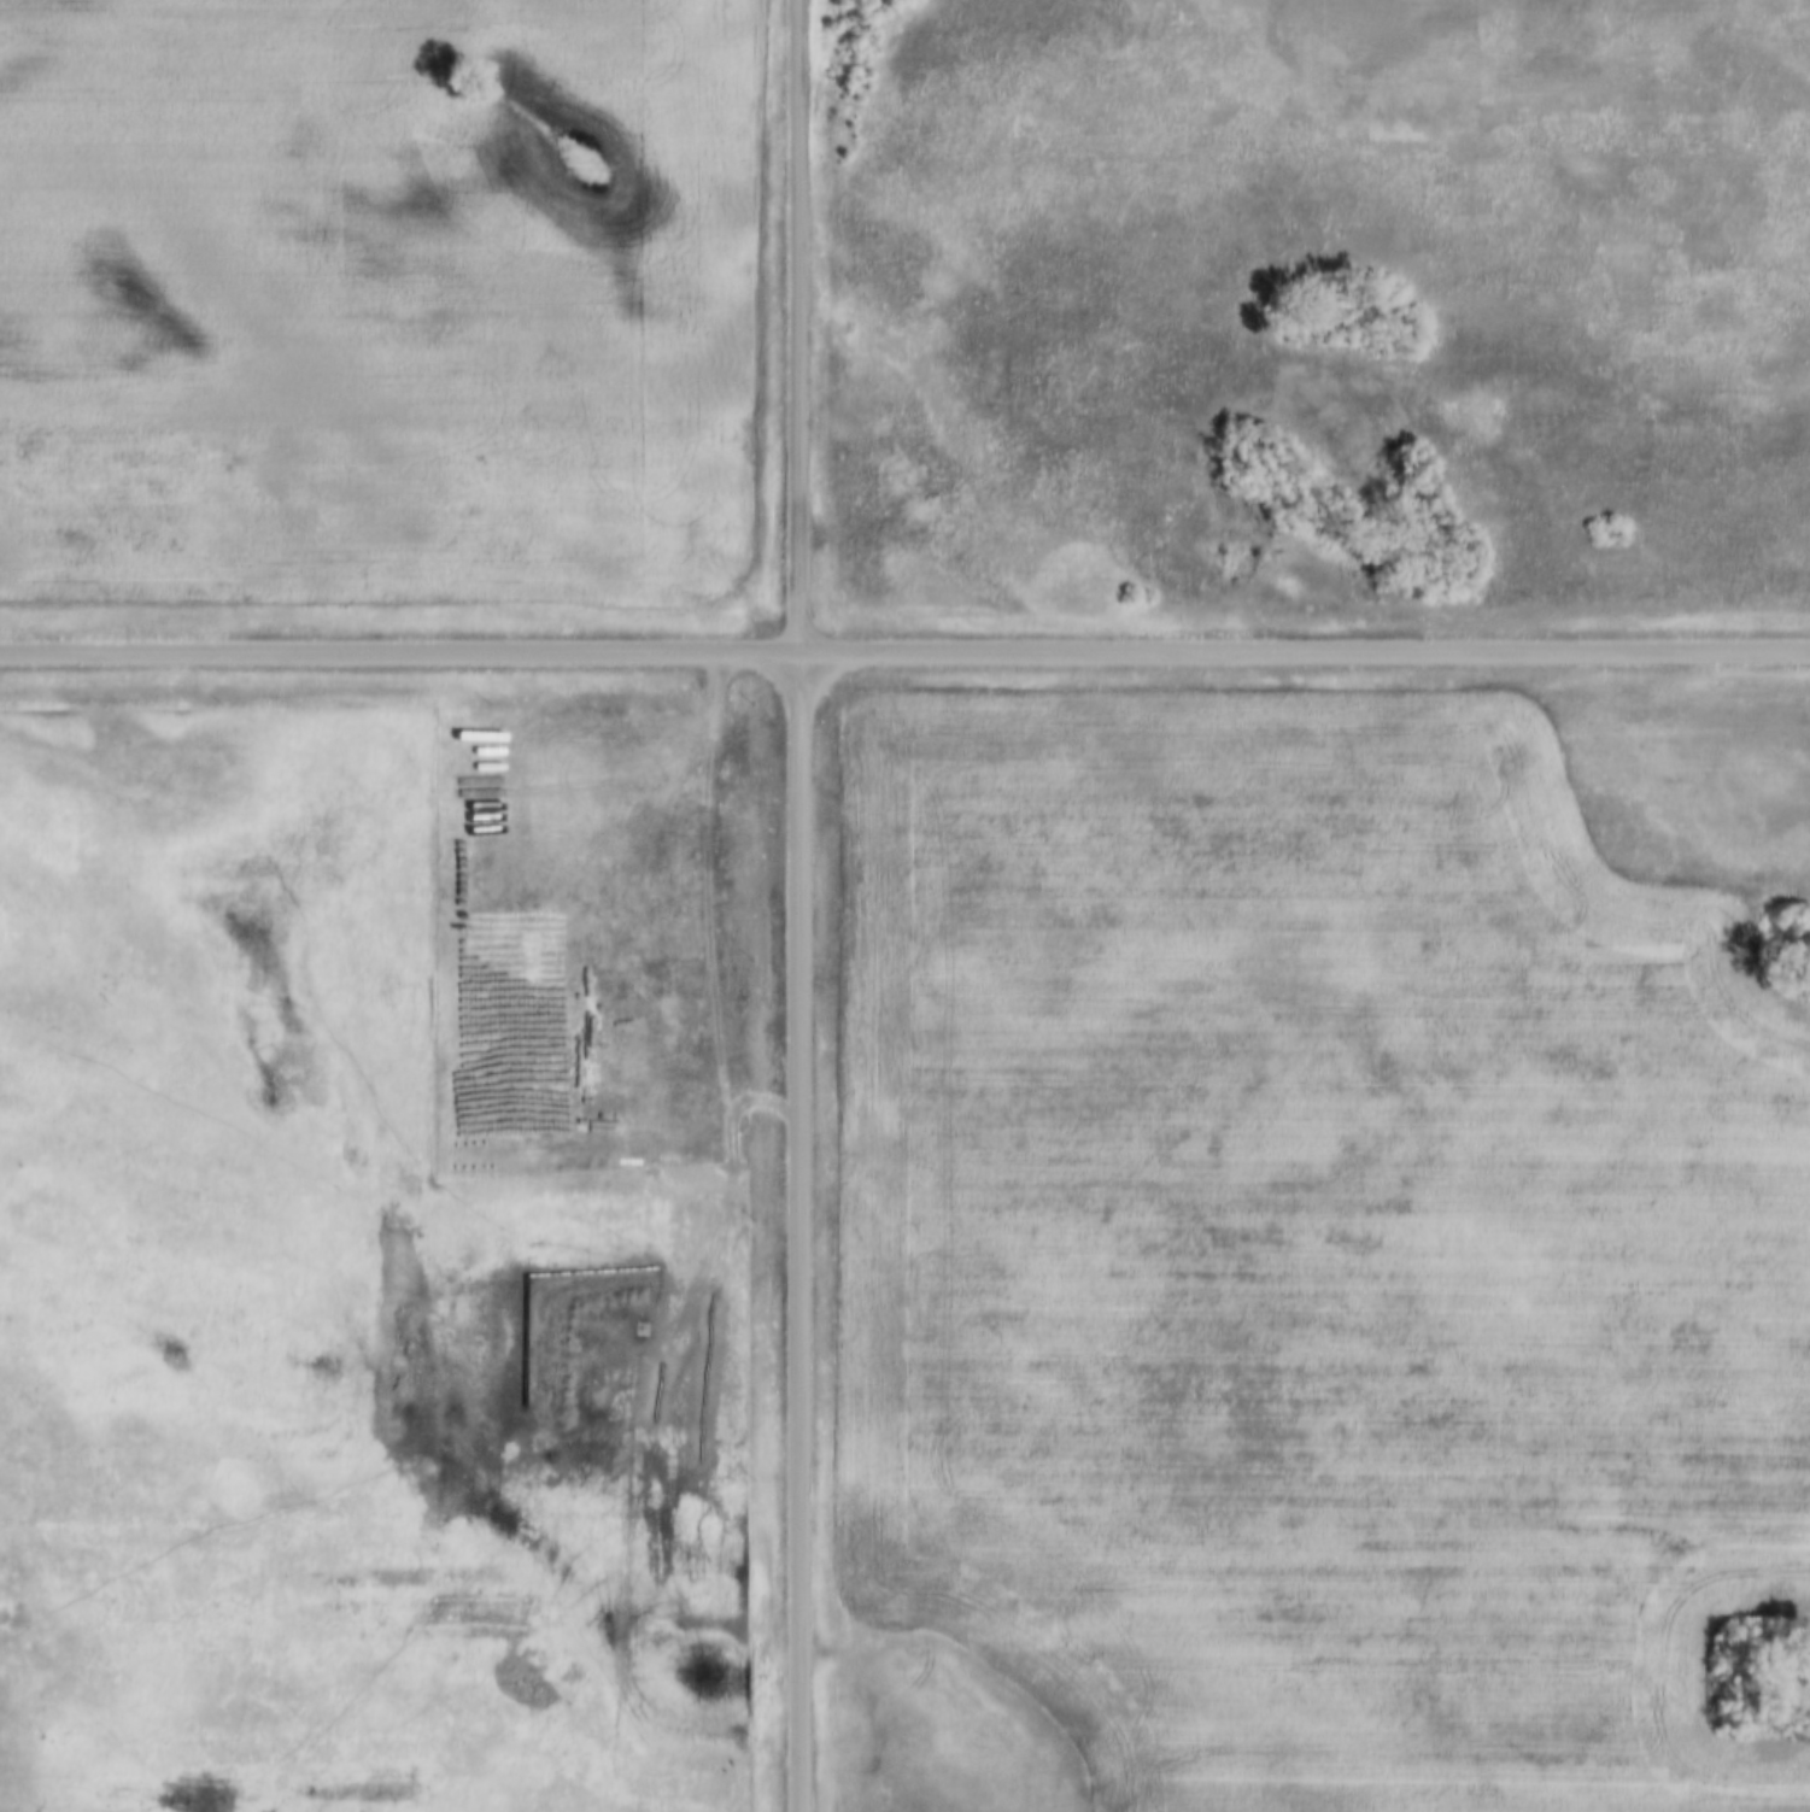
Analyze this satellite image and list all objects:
road: (797, 326)
building: (715, 360)
road: (904, 650)
road: (801, 1231)

